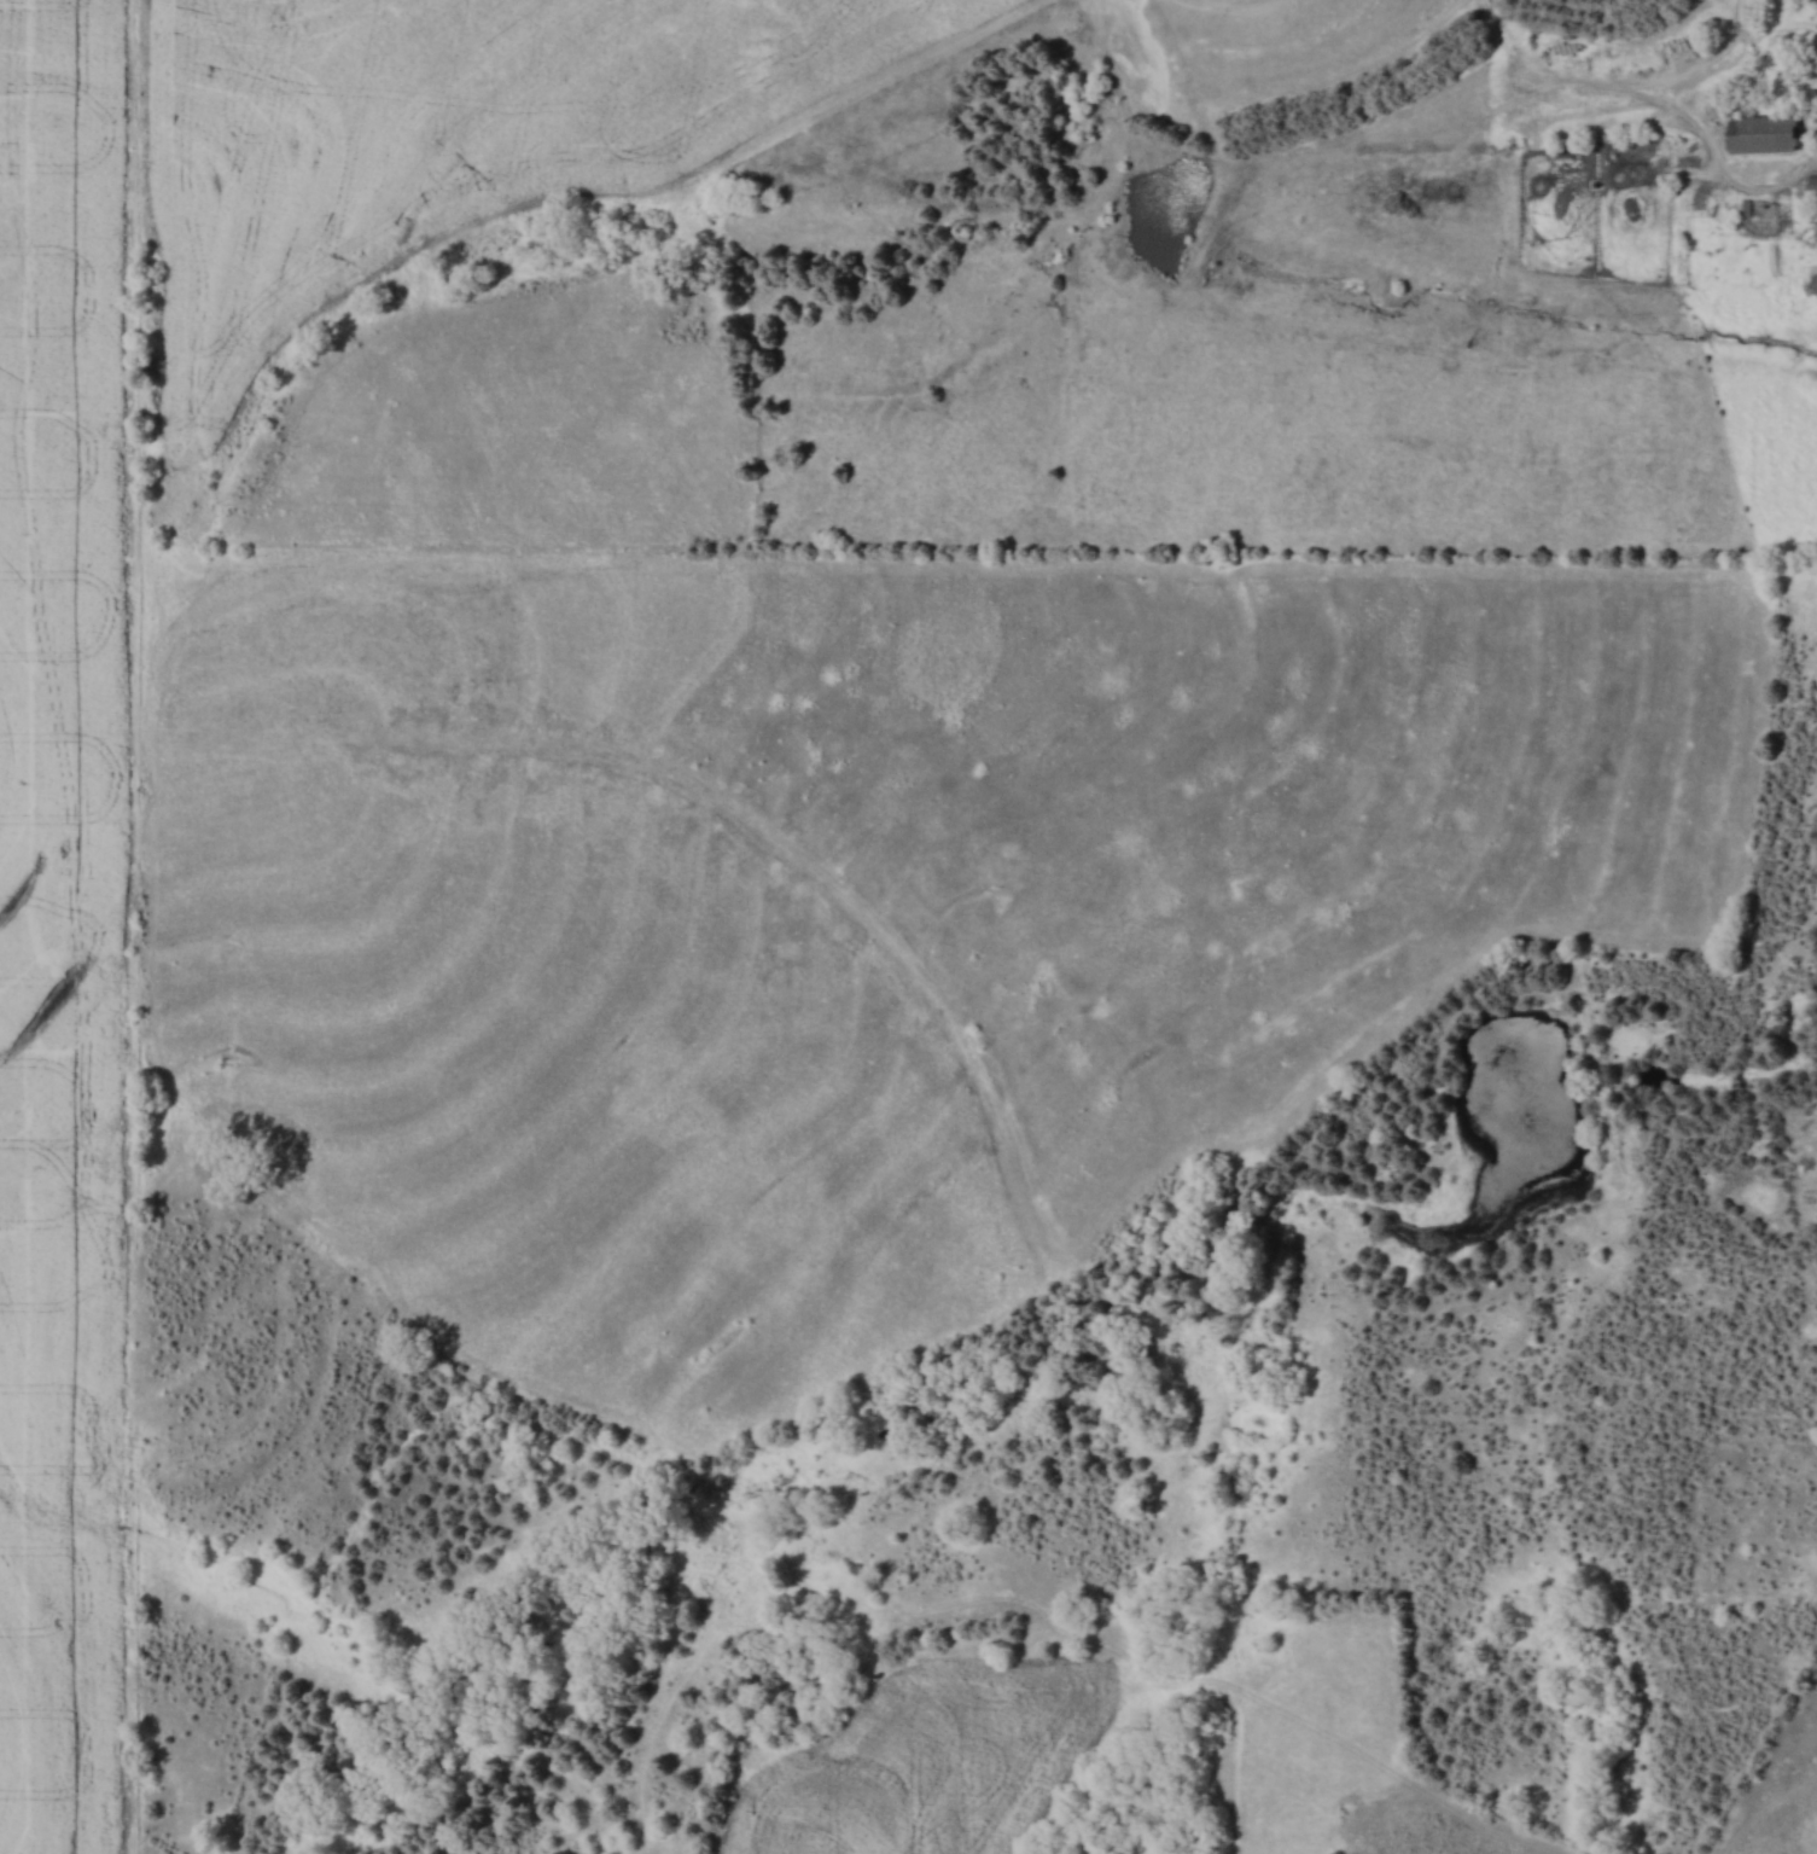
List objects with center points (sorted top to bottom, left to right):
building: (1815, 80)
building: (1763, 133)
building: (1812, 188)

